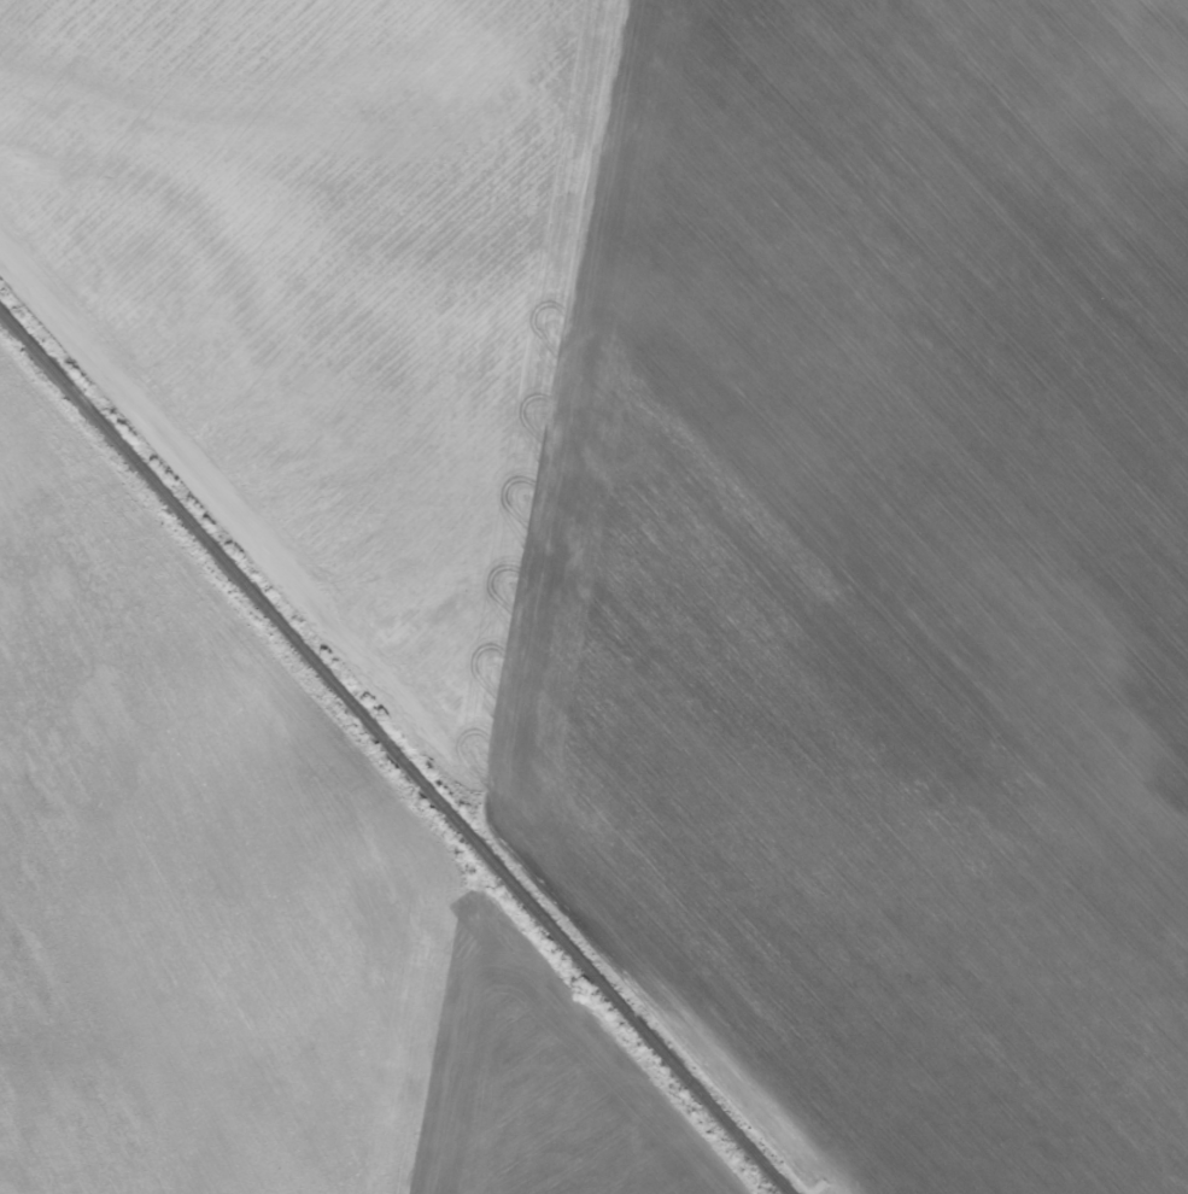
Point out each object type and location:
railway: (392, 754)

